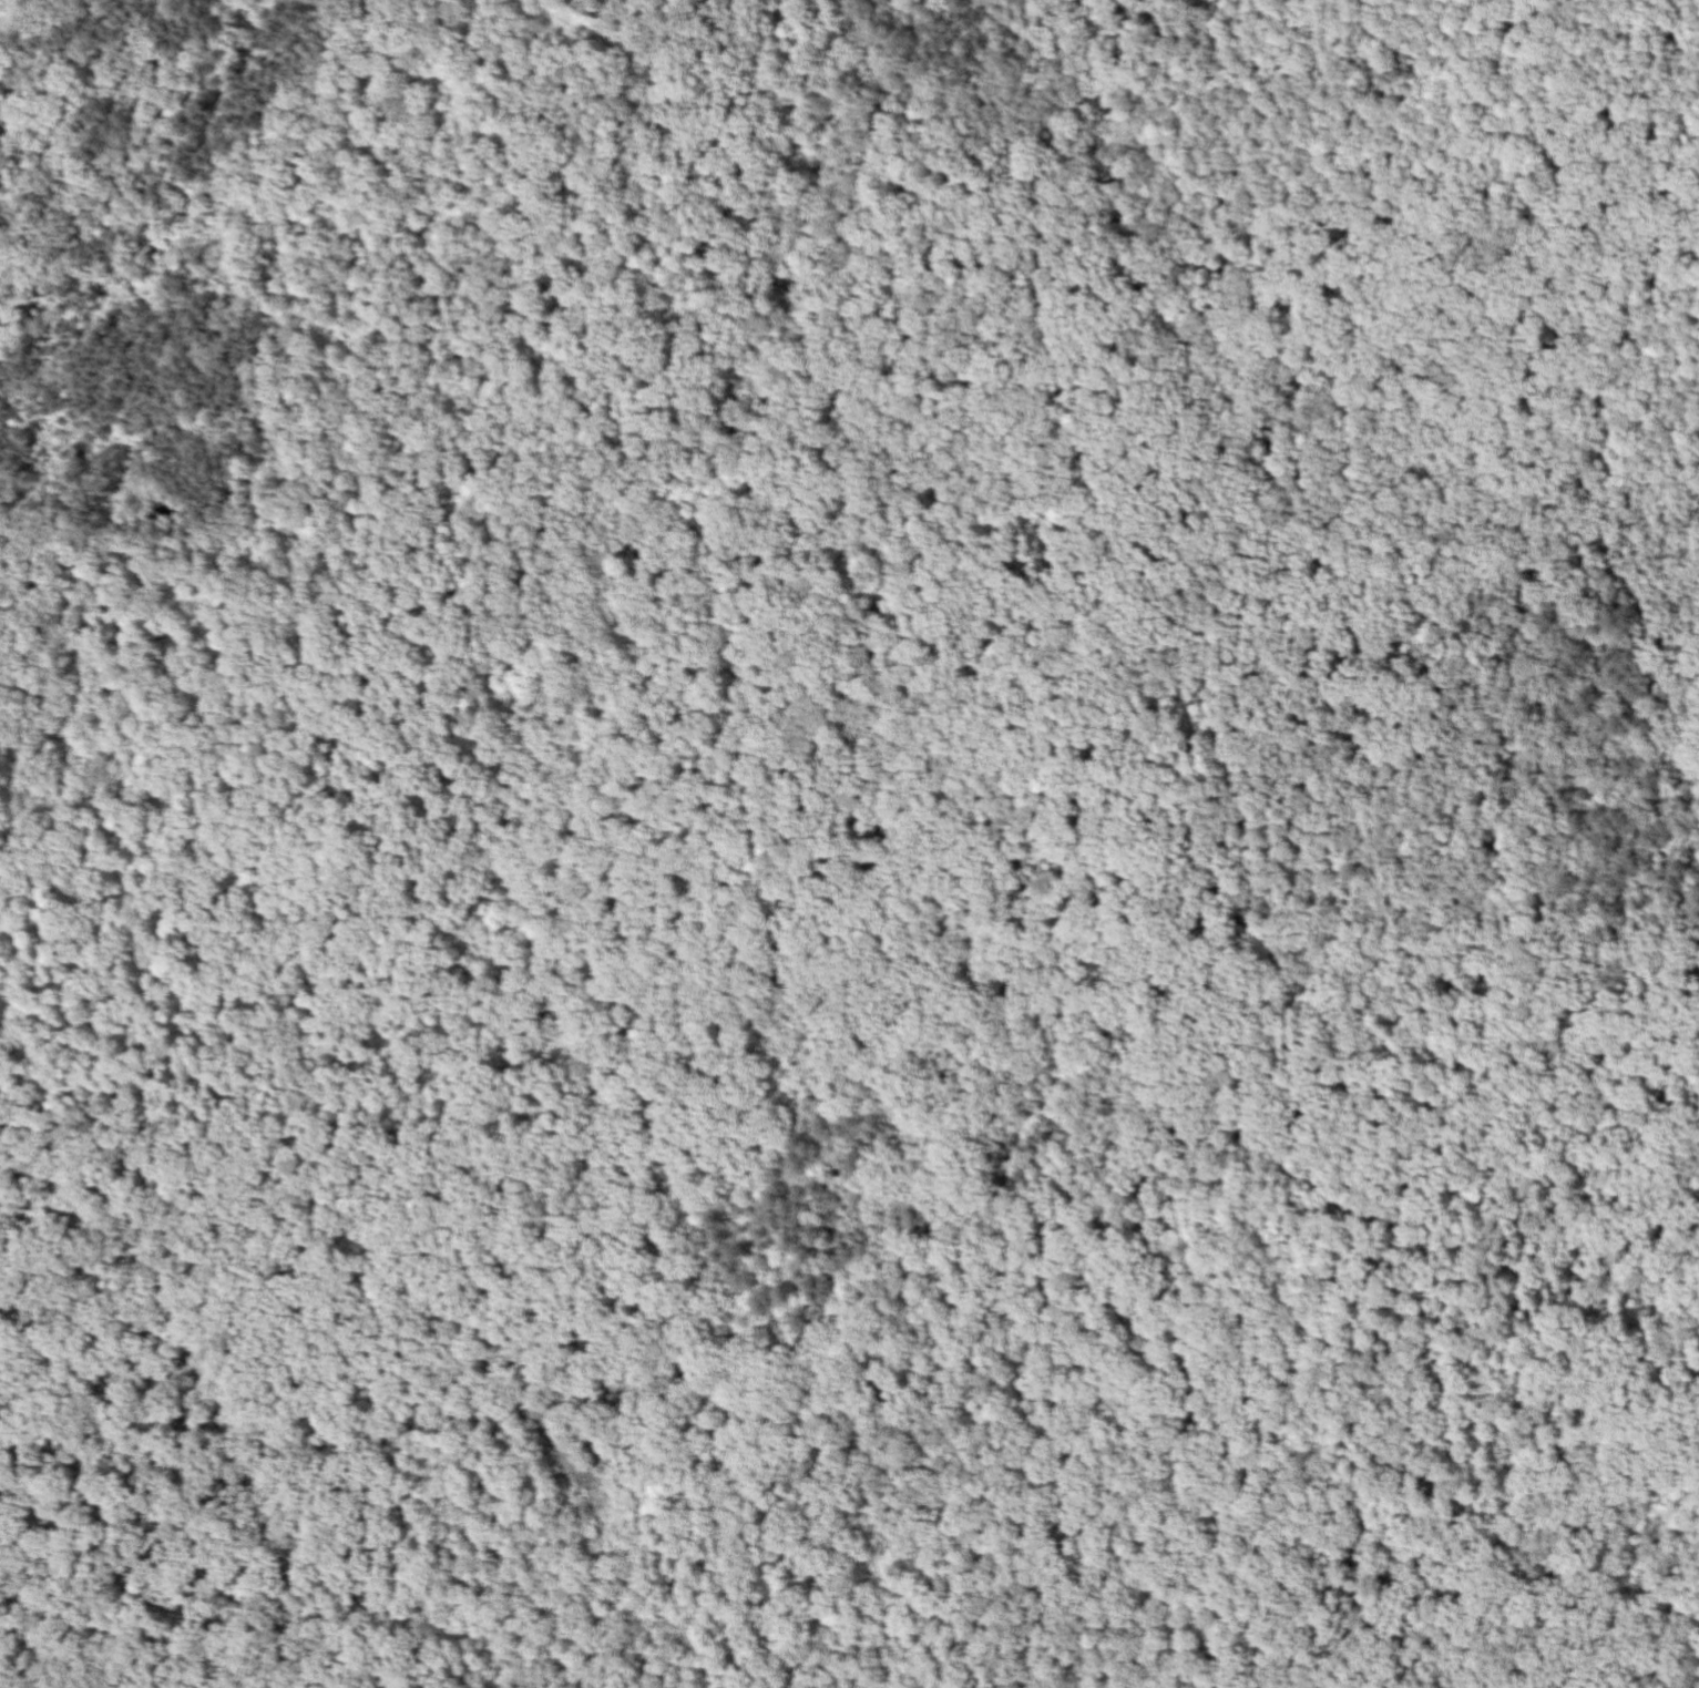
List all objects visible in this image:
road: (1054, 1146)
road: (207, 1401)
road: (298, 1433)
road: (323, 1486)

